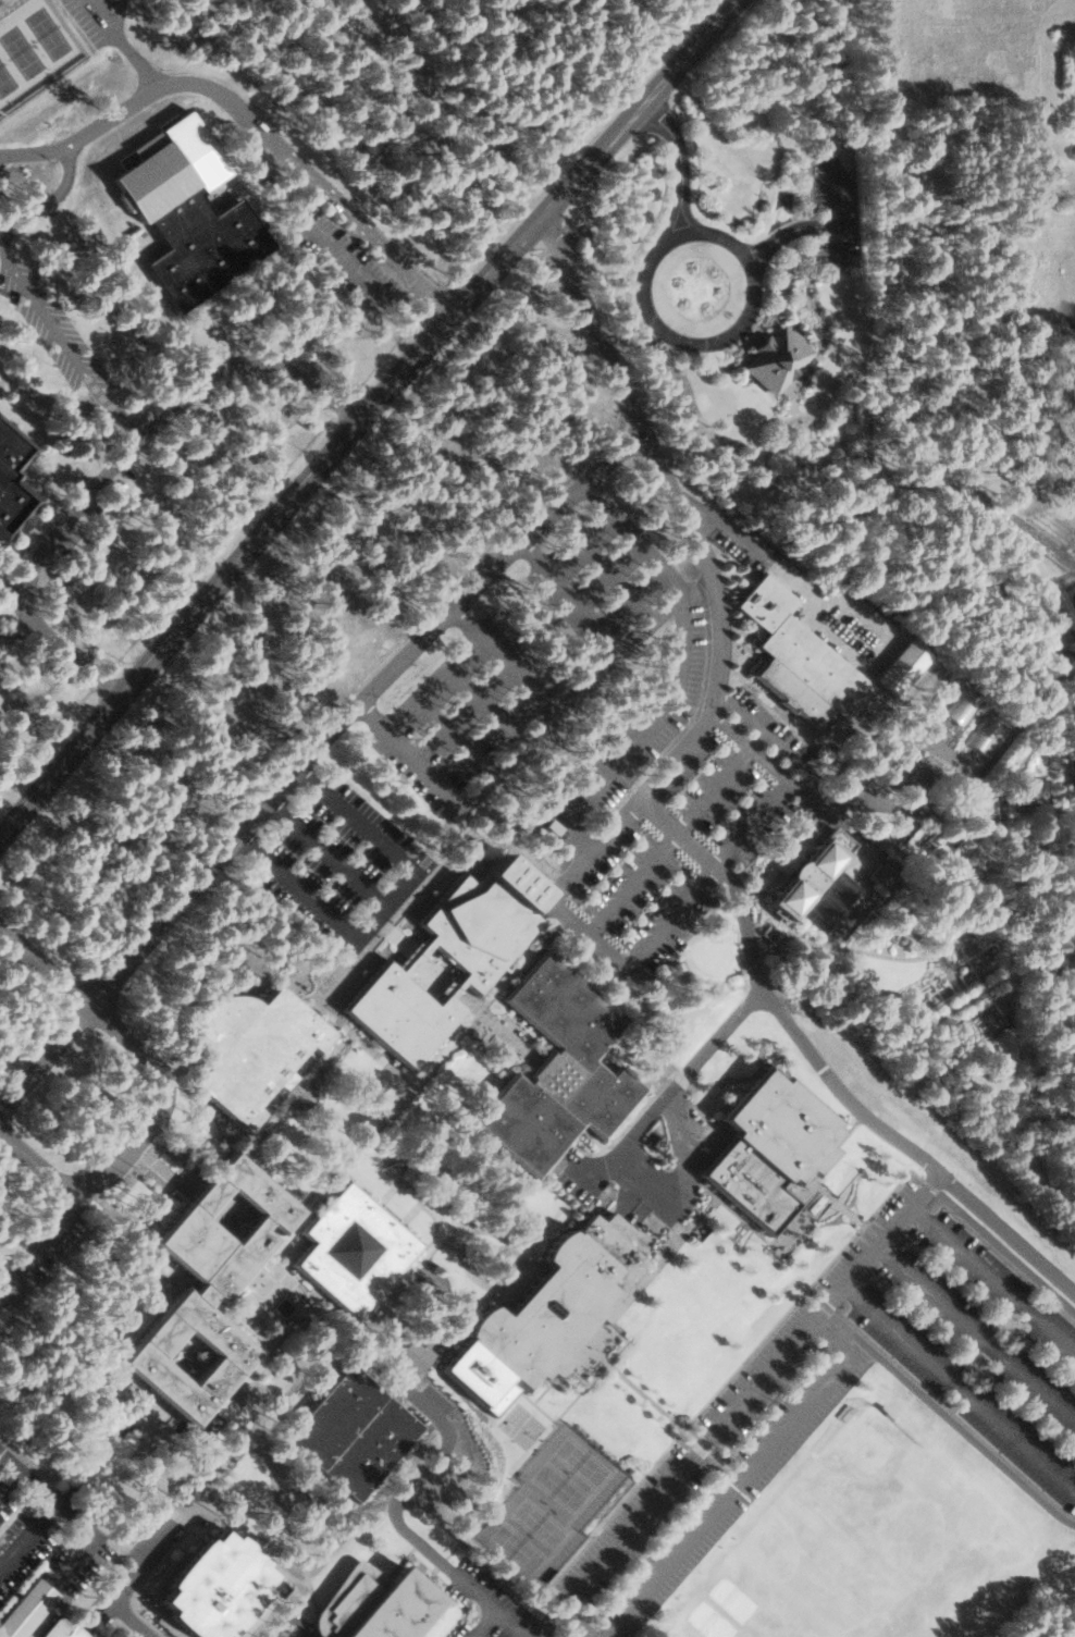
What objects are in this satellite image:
park: (34, 49)
road: (231, 103)
parking lot: (831, 193)
building: (188, 210)
road: (333, 243)
road: (30, 292)
road: (444, 296)
road: (663, 328)
building: (783, 360)
road: (829, 418)
road: (371, 420)
road: (156, 423)
building: (14, 482)
road: (816, 619)
road: (67, 649)
building: (801, 660)
building: (904, 666)
road: (1066, 736)
road: (693, 738)
road: (1038, 741)
road: (319, 760)
road: (969, 850)
road: (331, 858)
building: (790, 862)
building: (885, 871)
building: (810, 878)
building: (832, 901)
road: (387, 910)
road: (1025, 913)
road: (903, 957)
building: (450, 960)
building: (255, 1049)
building: (560, 1070)
road: (147, 1108)
building: (773, 1149)
road: (42, 1157)
road: (1011, 1221)
building: (355, 1251)
building: (211, 1289)
building: (549, 1314)
building: (585, 1351)
building: (415, 1356)
road: (740, 1402)
building: (355, 1432)
road: (8, 1480)
road: (58, 1505)
road: (394, 1512)
road: (28, 1542)
building: (215, 1587)
building: (376, 1603)
building: (27, 1609)
building: (67, 1628)

